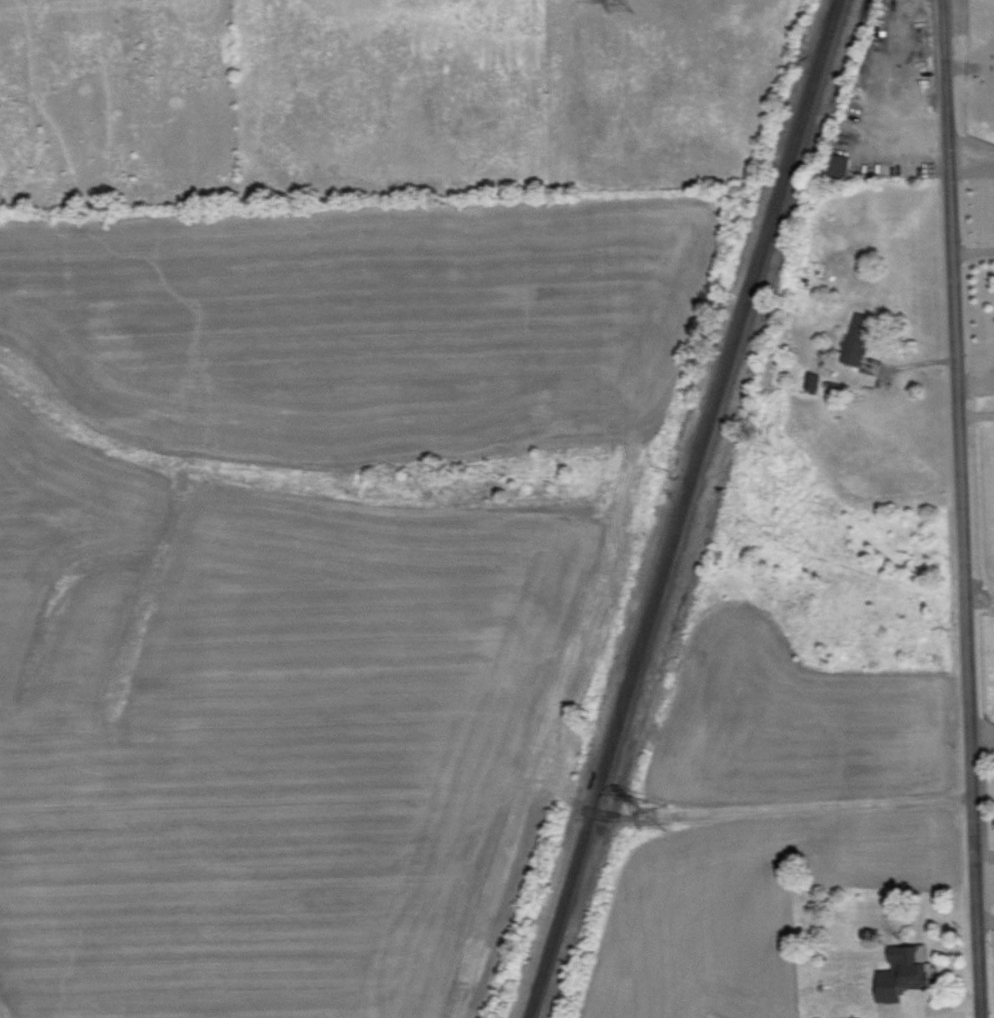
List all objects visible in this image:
building: (839, 164)
road: (972, 165)
road: (974, 251)
building: (859, 338)
building: (812, 380)
railway: (668, 506)
road: (964, 508)
power tower: (656, 823)
building: (905, 972)
building: (860, 1017)

